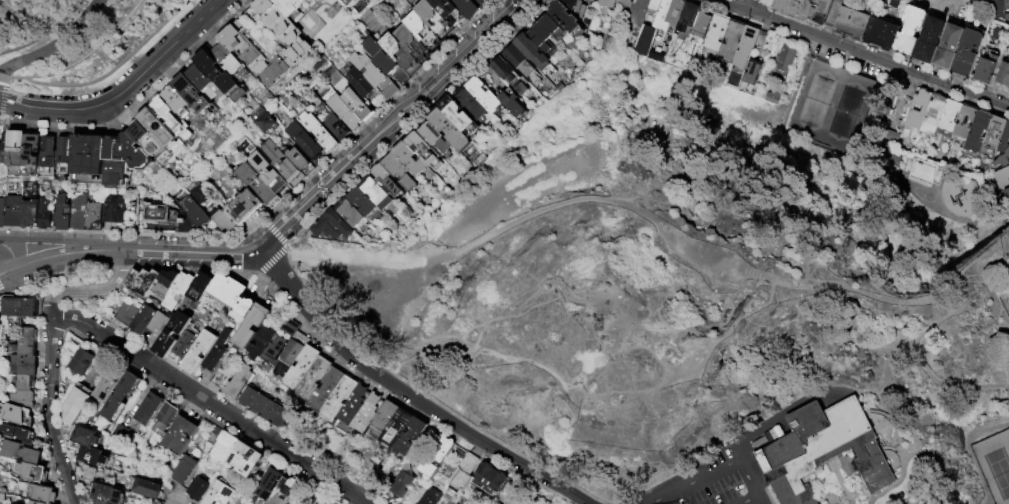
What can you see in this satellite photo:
building: (900, 0)
building: (908, 0)
road: (7, 2)
building: (351, 3)
building: (609, 3)
building: (625, 3)
building: (576, 6)
road: (752, 6)
building: (289, 7)
building: (468, 7)
building: (652, 8)
building: (987, 8)
building: (997, 8)
building: (805, 9)
building: (1006, 9)
building: (448, 11)
building: (638, 11)
building: (433, 17)
building: (564, 17)
building: (687, 17)
building: (273, 20)
building: (852, 24)
building: (701, 26)
building: (422, 29)
building: (657, 29)
building: (909, 30)
road: (46, 34)
building: (881, 34)
building: (547, 35)
building: (714, 35)
building: (731, 38)
park: (80, 41)
building: (927, 41)
building: (411, 42)
road: (57, 45)
building: (747, 46)
building: (947, 48)
road: (95, 49)
building: (244, 49)
building: (295, 51)
building: (968, 52)
building: (399, 53)
road: (862, 53)
building: (533, 54)
building: (784, 58)
building: (385, 60)
building: (230, 62)
building: (520, 64)
road: (124, 65)
building: (986, 70)
building: (274, 71)
building: (374, 74)
building: (749, 74)
building: (219, 75)
building: (508, 75)
building: (1003, 75)
road: (3, 76)
road: (29, 76)
road: (15, 77)
road: (5, 81)
road: (27, 81)
building: (203, 81)
building: (360, 82)
road: (797, 83)
road: (127, 91)
building: (192, 94)
building: (483, 95)
building: (772, 95)
road: (1, 99)
building: (176, 101)
road: (136, 103)
building: (357, 103)
building: (469, 103)
building: (511, 103)
park: (830, 105)
road: (877, 107)
building: (917, 109)
road: (378, 110)
building: (163, 111)
building: (345, 112)
building: (932, 115)
building: (457, 116)
building: (949, 116)
building: (264, 120)
building: (964, 122)
building: (337, 128)
building: (448, 129)
building: (160, 130)
building: (977, 131)
building: (319, 132)
building: (995, 132)
road: (378, 137)
building: (434, 138)
building: (148, 140)
building: (304, 140)
building: (1004, 140)
building: (4, 148)
building: (16, 148)
road: (836, 151)
building: (423, 152)
building: (32, 155)
building: (48, 156)
building: (64, 157)
building: (124, 158)
building: (1004, 158)
building: (88, 159)
building: (408, 159)
building: (299, 160)
building: (281, 162)
building: (266, 170)
building: (921, 170)
building: (398, 172)
building: (1000, 176)
building: (385, 181)
building: (256, 184)
building: (197, 192)
building: (374, 193)
building: (1005, 195)
building: (360, 201)
building: (243, 206)
building: (113, 207)
building: (14, 210)
building: (78, 211)
building: (63, 212)
building: (94, 212)
building: (349, 212)
building: (2, 213)
building: (194, 213)
building: (30, 214)
building: (44, 214)
building: (160, 214)
building: (223, 219)
road: (523, 219)
road: (961, 219)
building: (330, 224)
street lamp: (992, 225)
road: (133, 232)
road: (275, 233)
road: (57, 240)
road: (120, 250)
road: (10, 253)
road: (272, 258)
road: (868, 264)
road: (120, 266)
road: (131, 267)
road: (8, 270)
road: (53, 273)
park: (693, 275)
building: (142, 281)
building: (165, 282)
road: (284, 289)
road: (89, 290)
building: (199, 290)
park: (390, 290)
building: (178, 291)
building: (227, 291)
road: (536, 302)
road: (962, 303)
road: (543, 304)
road: (298, 305)
road: (353, 305)
road: (612, 306)
building: (18, 309)
building: (244, 309)
road: (527, 311)
building: (125, 315)
building: (1, 319)
building: (142, 319)
building: (160, 322)
building: (252, 325)
building: (0, 328)
building: (171, 333)
building: (262, 342)
building: (26, 344)
building: (183, 345)
building: (275, 350)
building: (199, 351)
building: (215, 355)
building: (290, 357)
building: (81, 361)
building: (24, 365)
road: (128, 366)
road: (889, 366)
building: (302, 368)
road: (684, 368)
road: (356, 374)
road: (166, 375)
building: (220, 378)
building: (315, 378)
building: (238, 380)
building: (25, 383)
building: (109, 383)
road: (952, 383)
building: (327, 390)
road: (406, 394)
road: (636, 394)
road: (425, 395)
building: (121, 396)
road: (871, 396)
building: (341, 398)
building: (21, 400)
road: (805, 400)
road: (880, 400)
building: (77, 404)
building: (354, 404)
building: (264, 406)
building: (148, 408)
road: (37, 412)
building: (12, 413)
road: (49, 413)
building: (367, 413)
building: (166, 415)
road: (434, 418)
building: (384, 419)
road: (892, 420)
road: (874, 423)
building: (398, 427)
road: (876, 431)
building: (120, 433)
building: (180, 434)
building: (17, 436)
building: (85, 436)
building: (411, 437)
road: (903, 437)
road: (473, 442)
building: (225, 446)
road: (743, 448)
building: (821, 449)
road: (967, 449)
road: (909, 451)
road: (900, 452)
building: (20, 453)
building: (91, 454)
building: (438, 456)
building: (246, 458)
road: (493, 458)
building: (213, 459)
park: (994, 464)
road: (516, 467)
building: (183, 469)
building: (31, 472)
building: (464, 473)
road: (749, 475)
road: (323, 476)
building: (490, 478)
parking lot: (711, 479)
road: (693, 480)
road: (840, 481)
building: (269, 483)
building: (401, 484)
building: (287, 485)
road: (759, 486)
building: (198, 488)
building: (147, 489)
road: (863, 491)
building: (43, 494)
building: (108, 494)
building: (219, 494)
road: (768, 496)
building: (312, 497)
building: (430, 497)
road: (750, 499)
road: (762, 499)
road: (818, 499)
building: (156, 501)
building: (101, 502)
building: (496, 502)
road: (834, 502)
building: (35, 503)
building: (493, 503)

